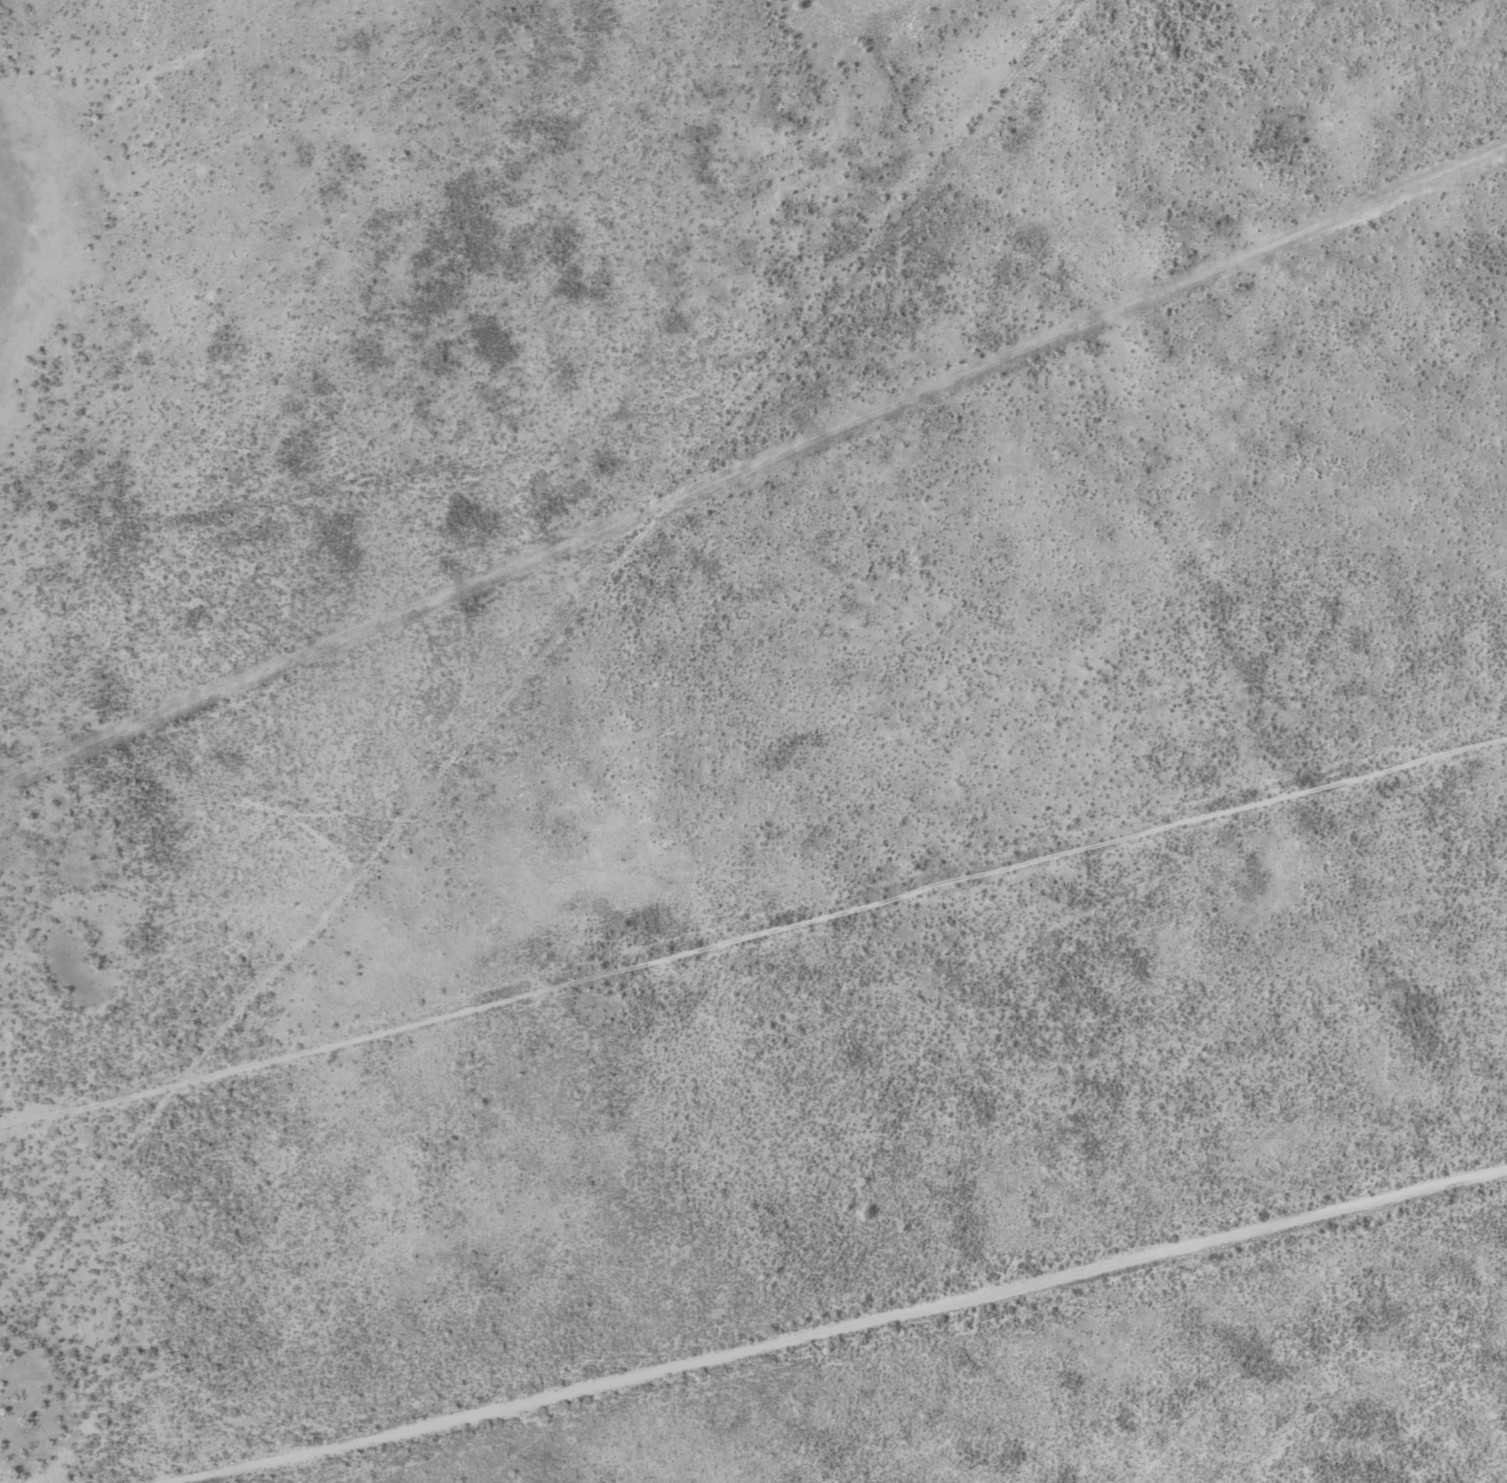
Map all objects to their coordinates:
road: (847, 1326)

